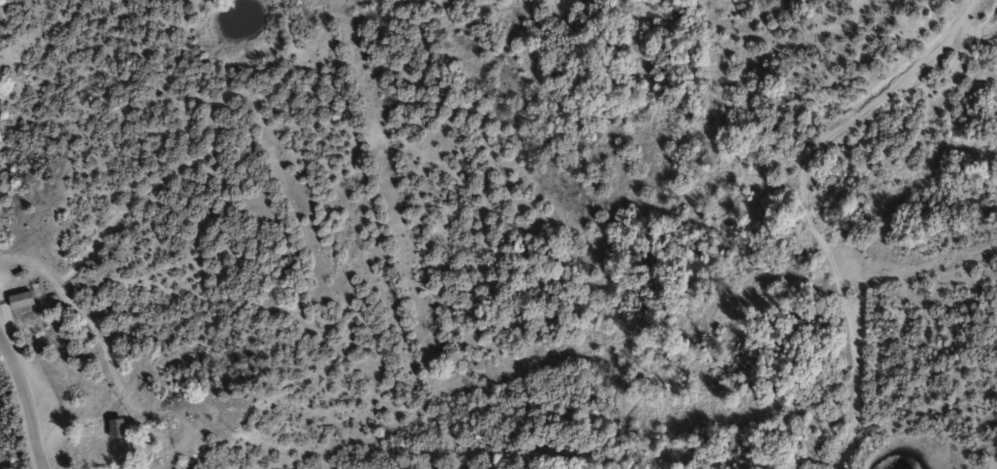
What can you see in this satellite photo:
building: (24, 308)
road: (9, 327)
park: (696, 398)
road: (31, 399)

